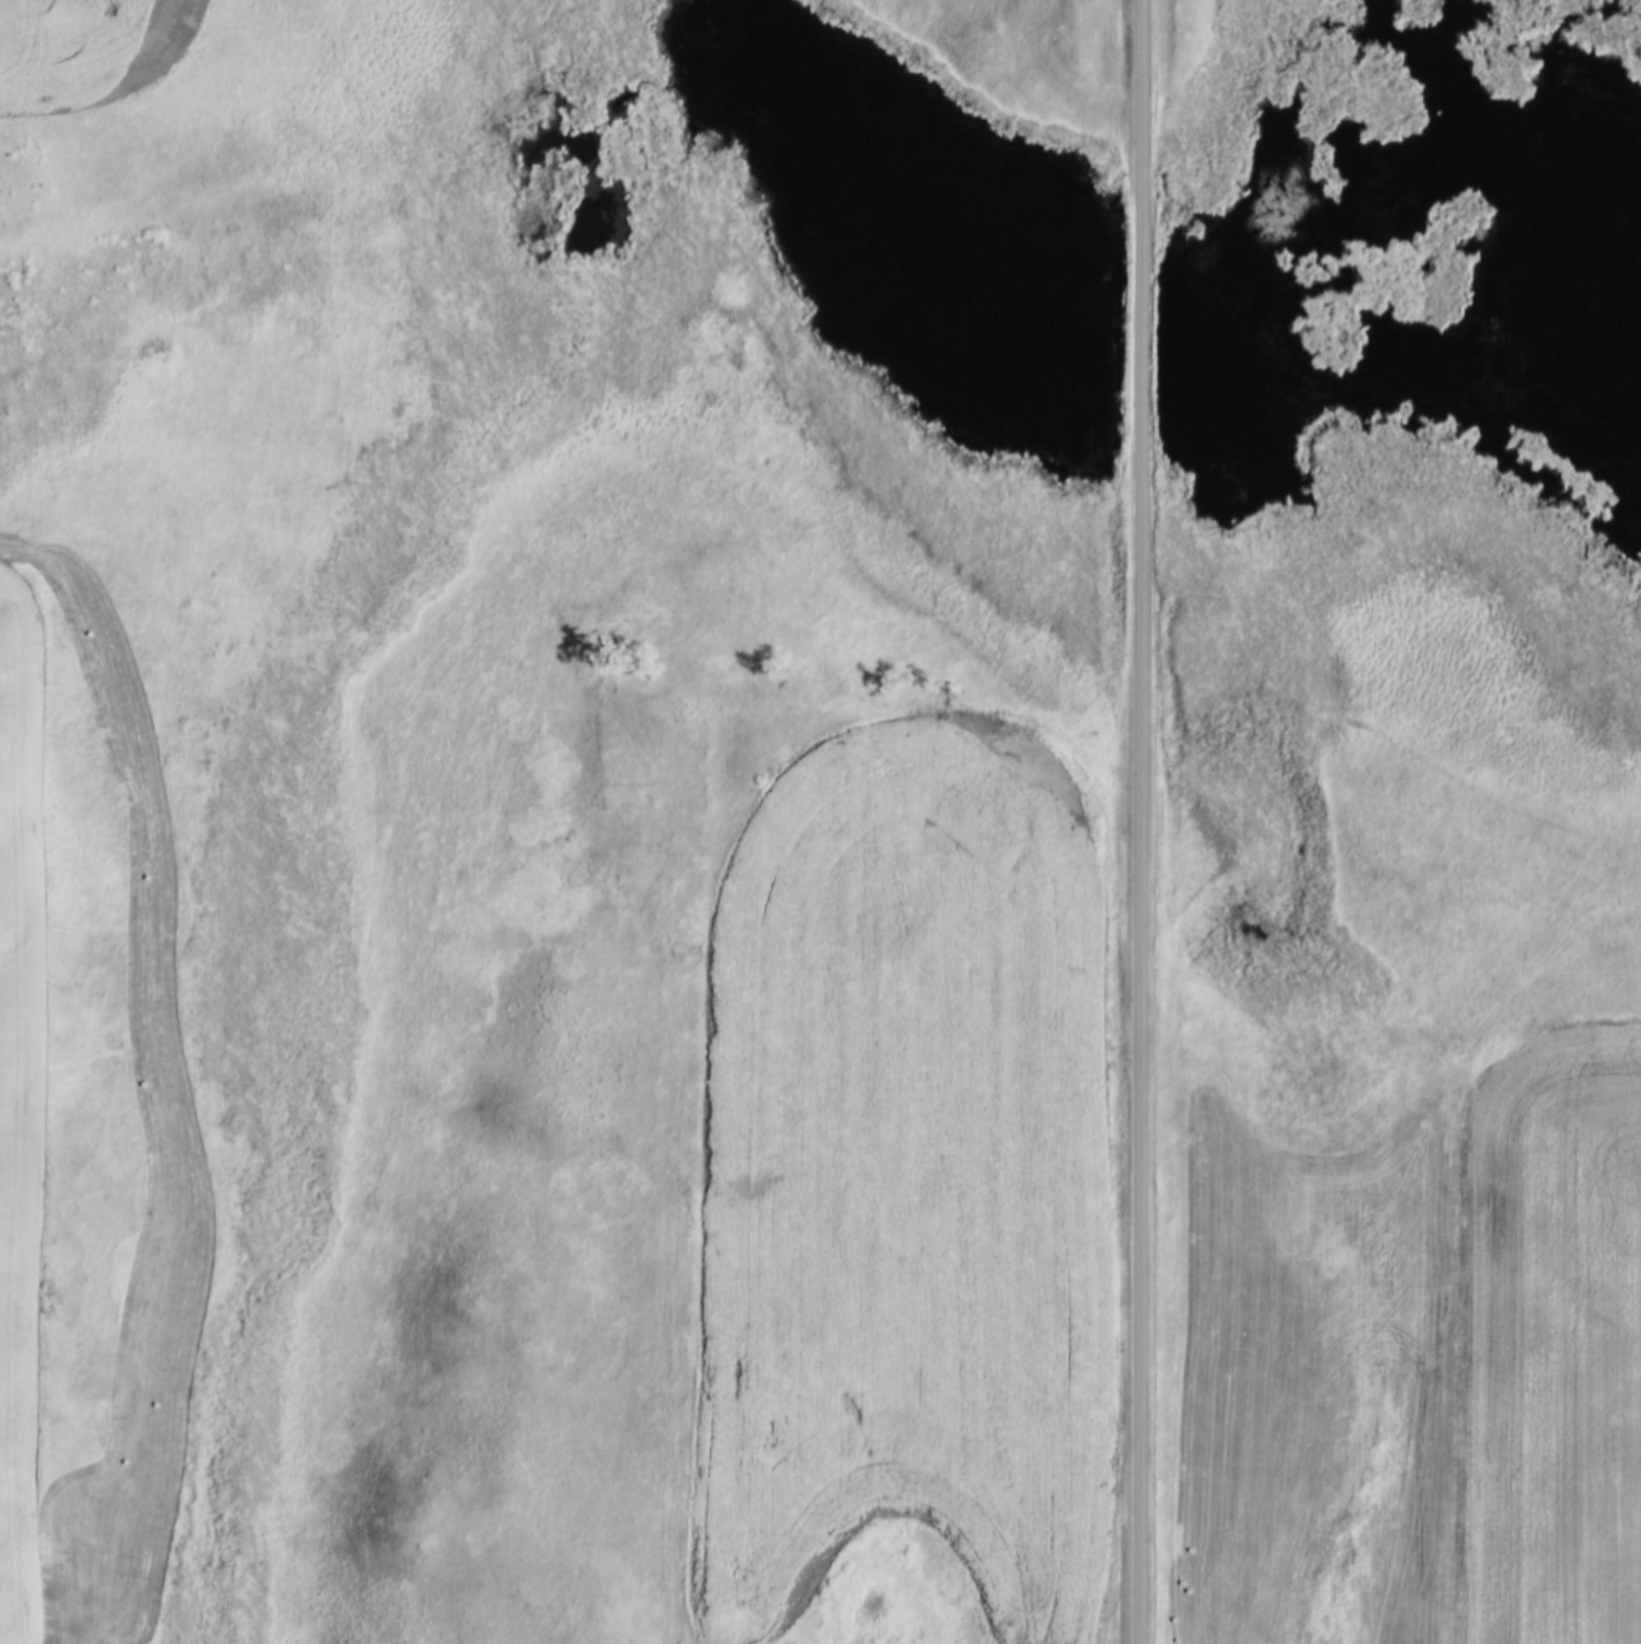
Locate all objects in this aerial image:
road: (1136, 821)

